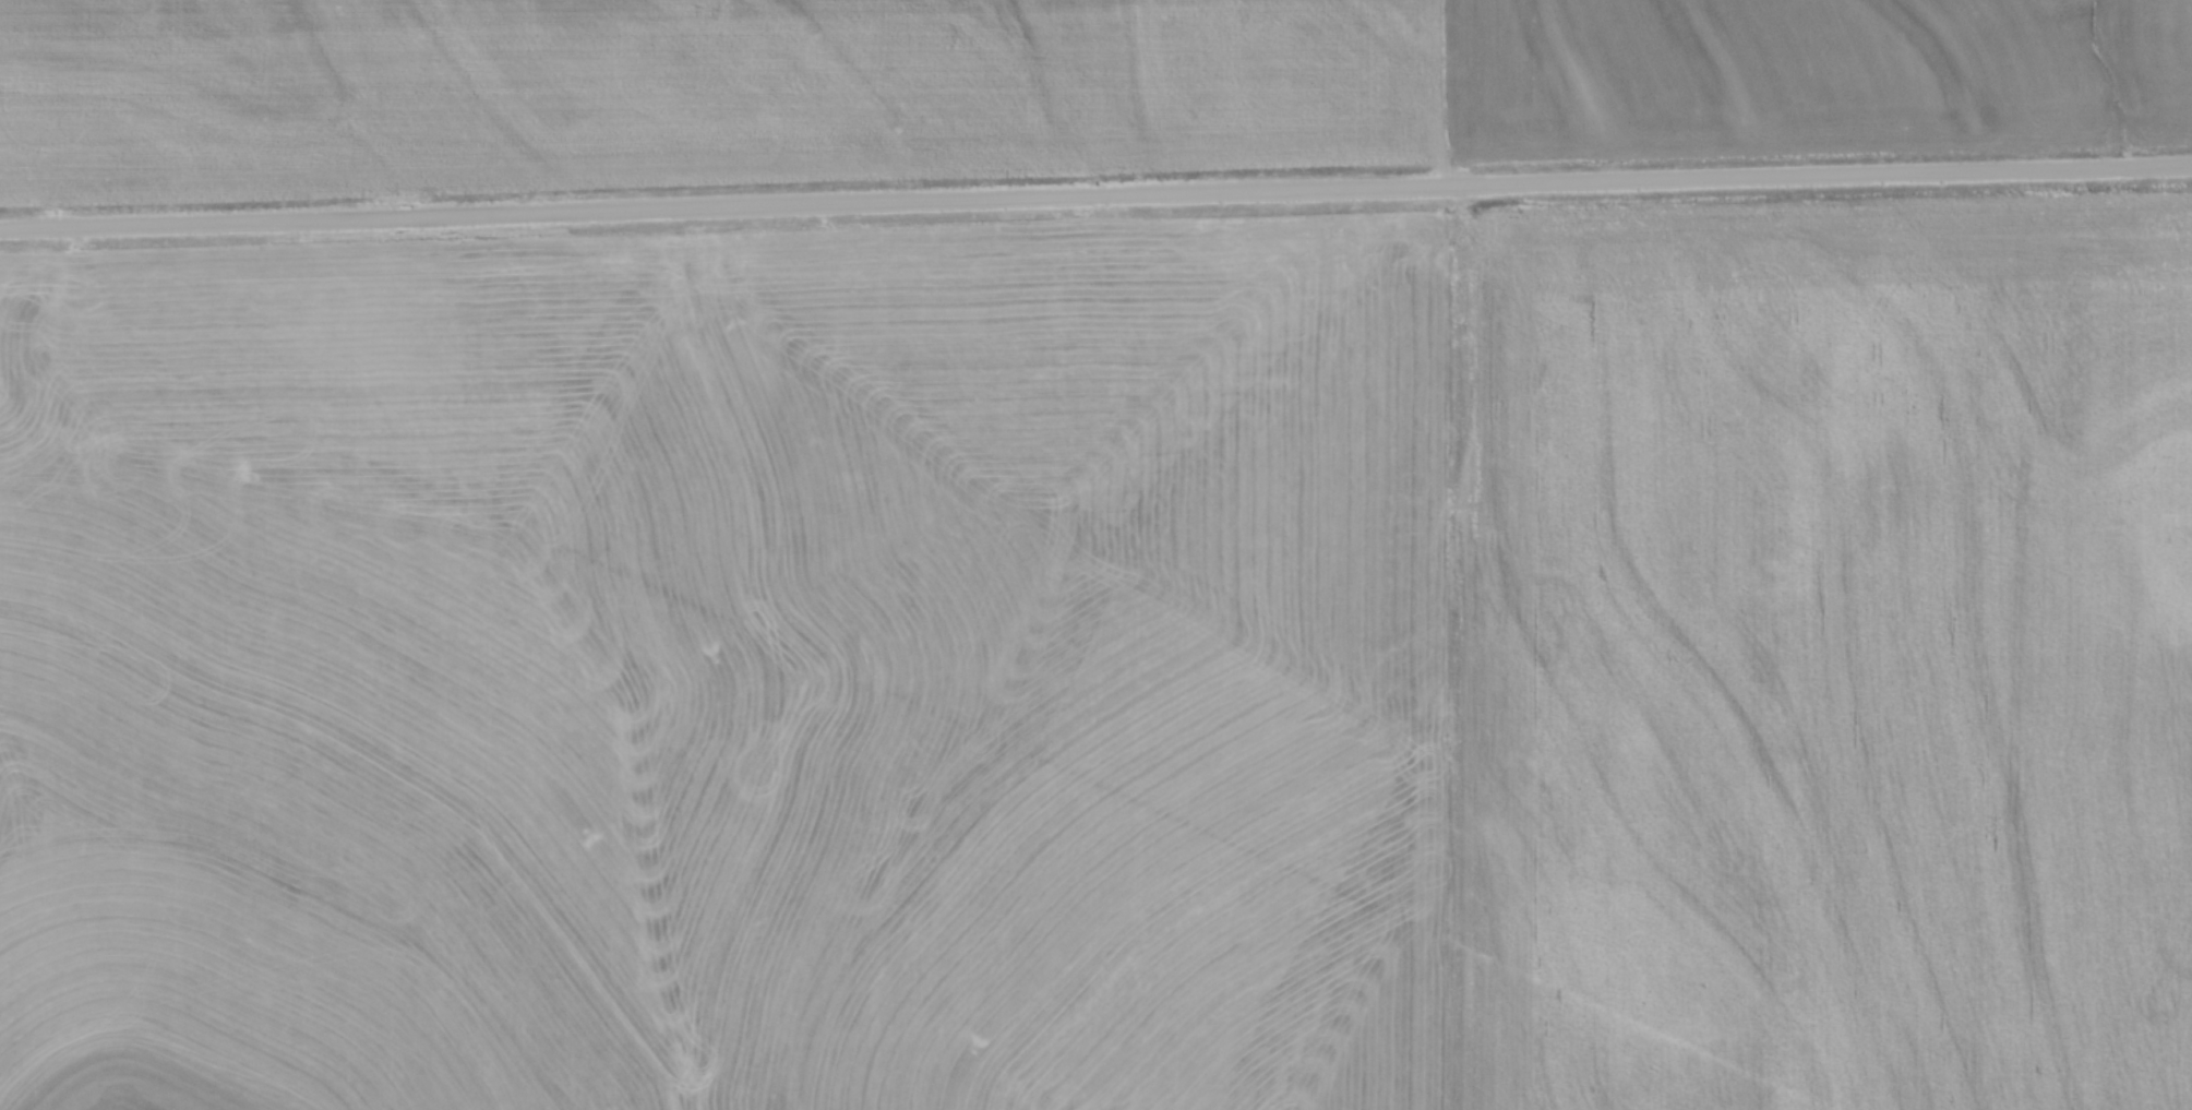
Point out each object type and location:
road: (1095, 196)

